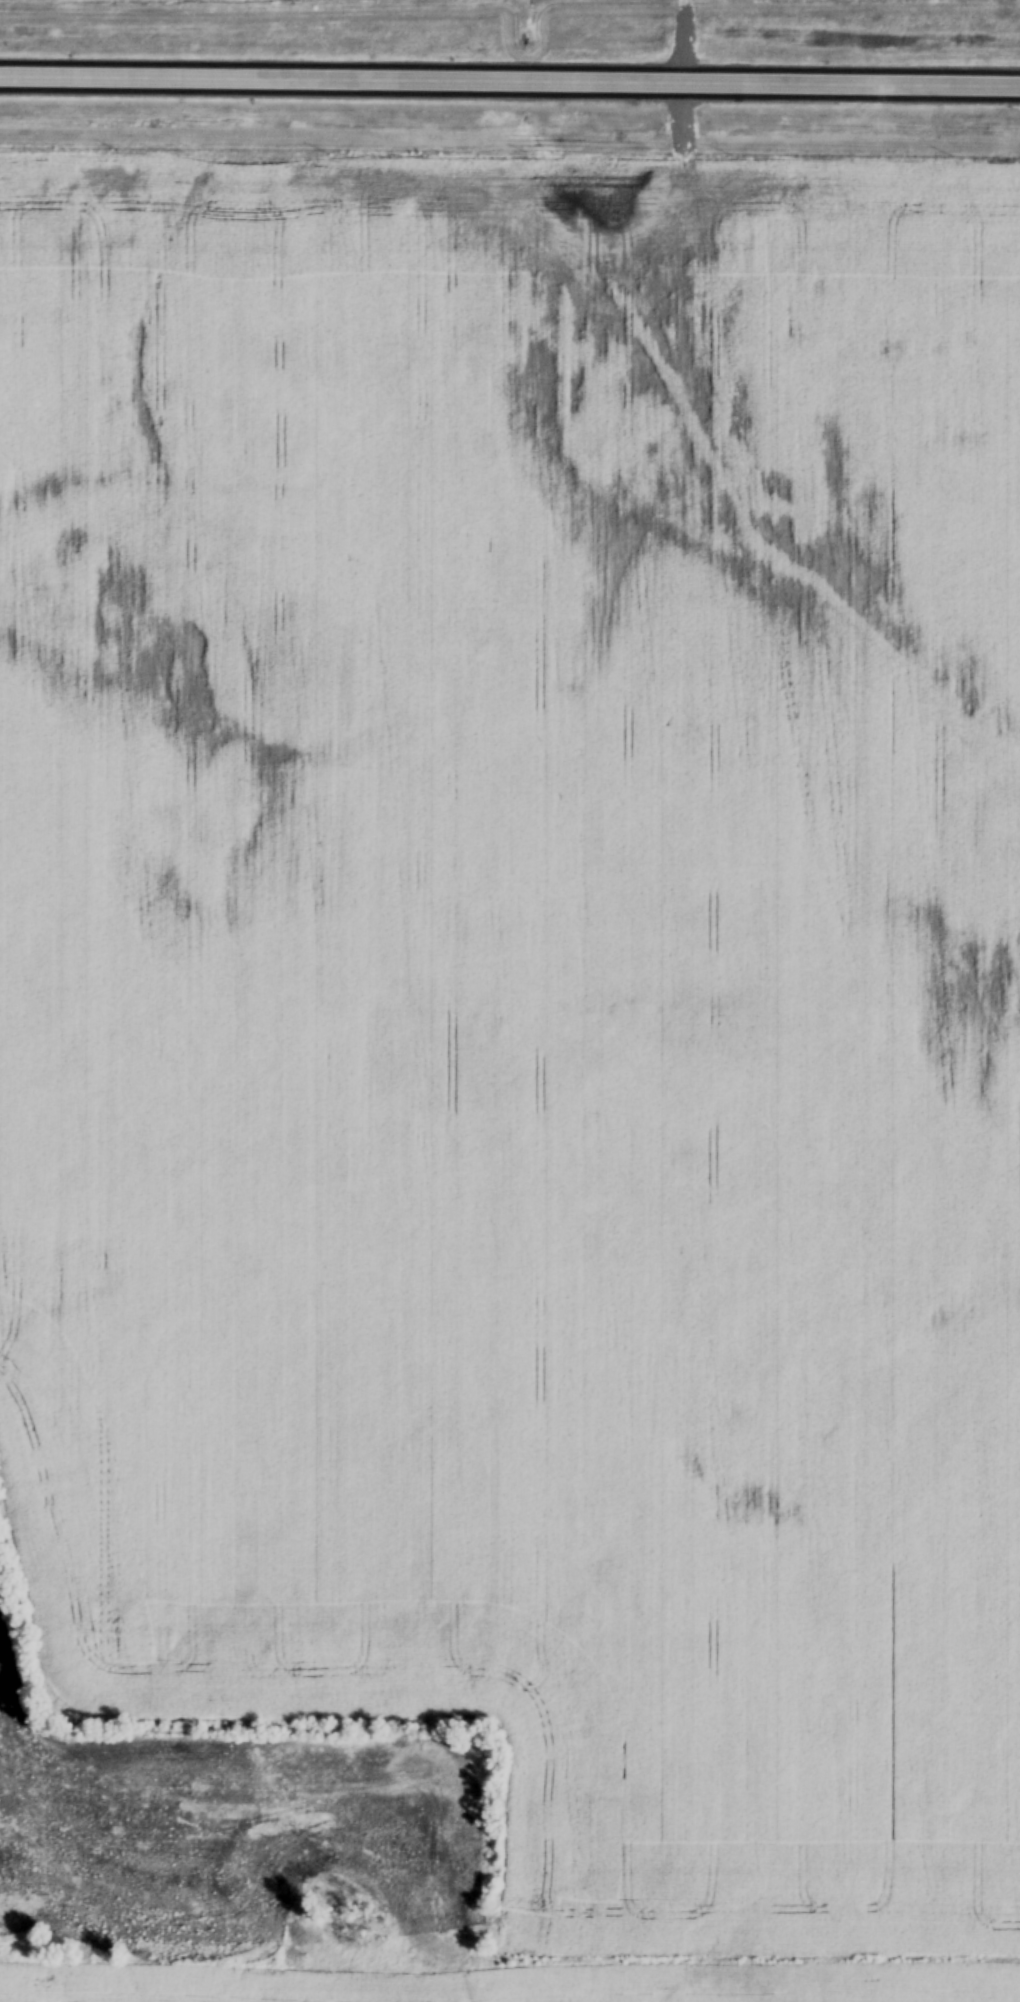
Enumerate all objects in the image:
road: (510, 74)
building: (454, 80)

